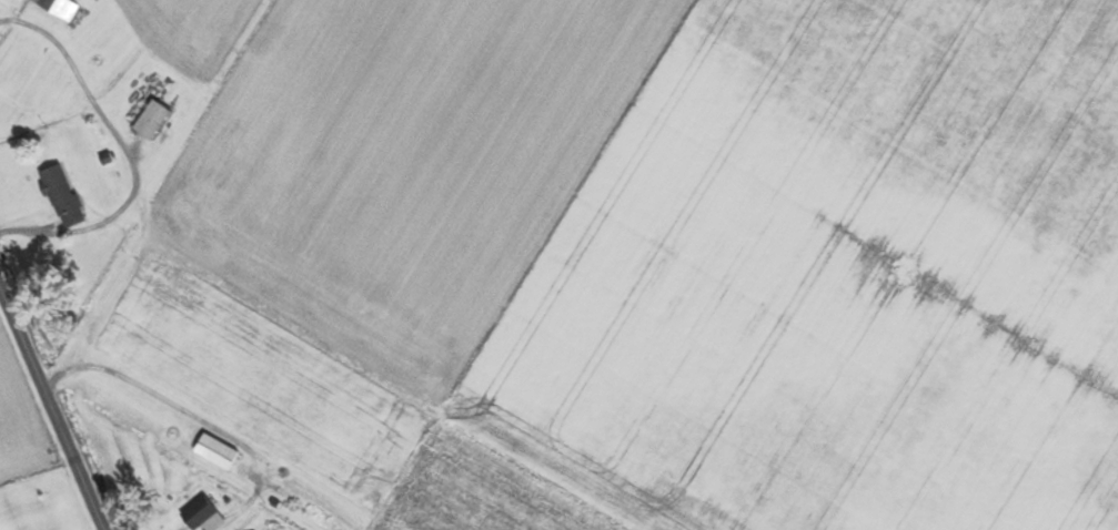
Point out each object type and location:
building: (61, 8)
building: (154, 120)
road: (129, 153)
building: (64, 196)
road: (53, 414)
building: (219, 450)
building: (205, 514)

